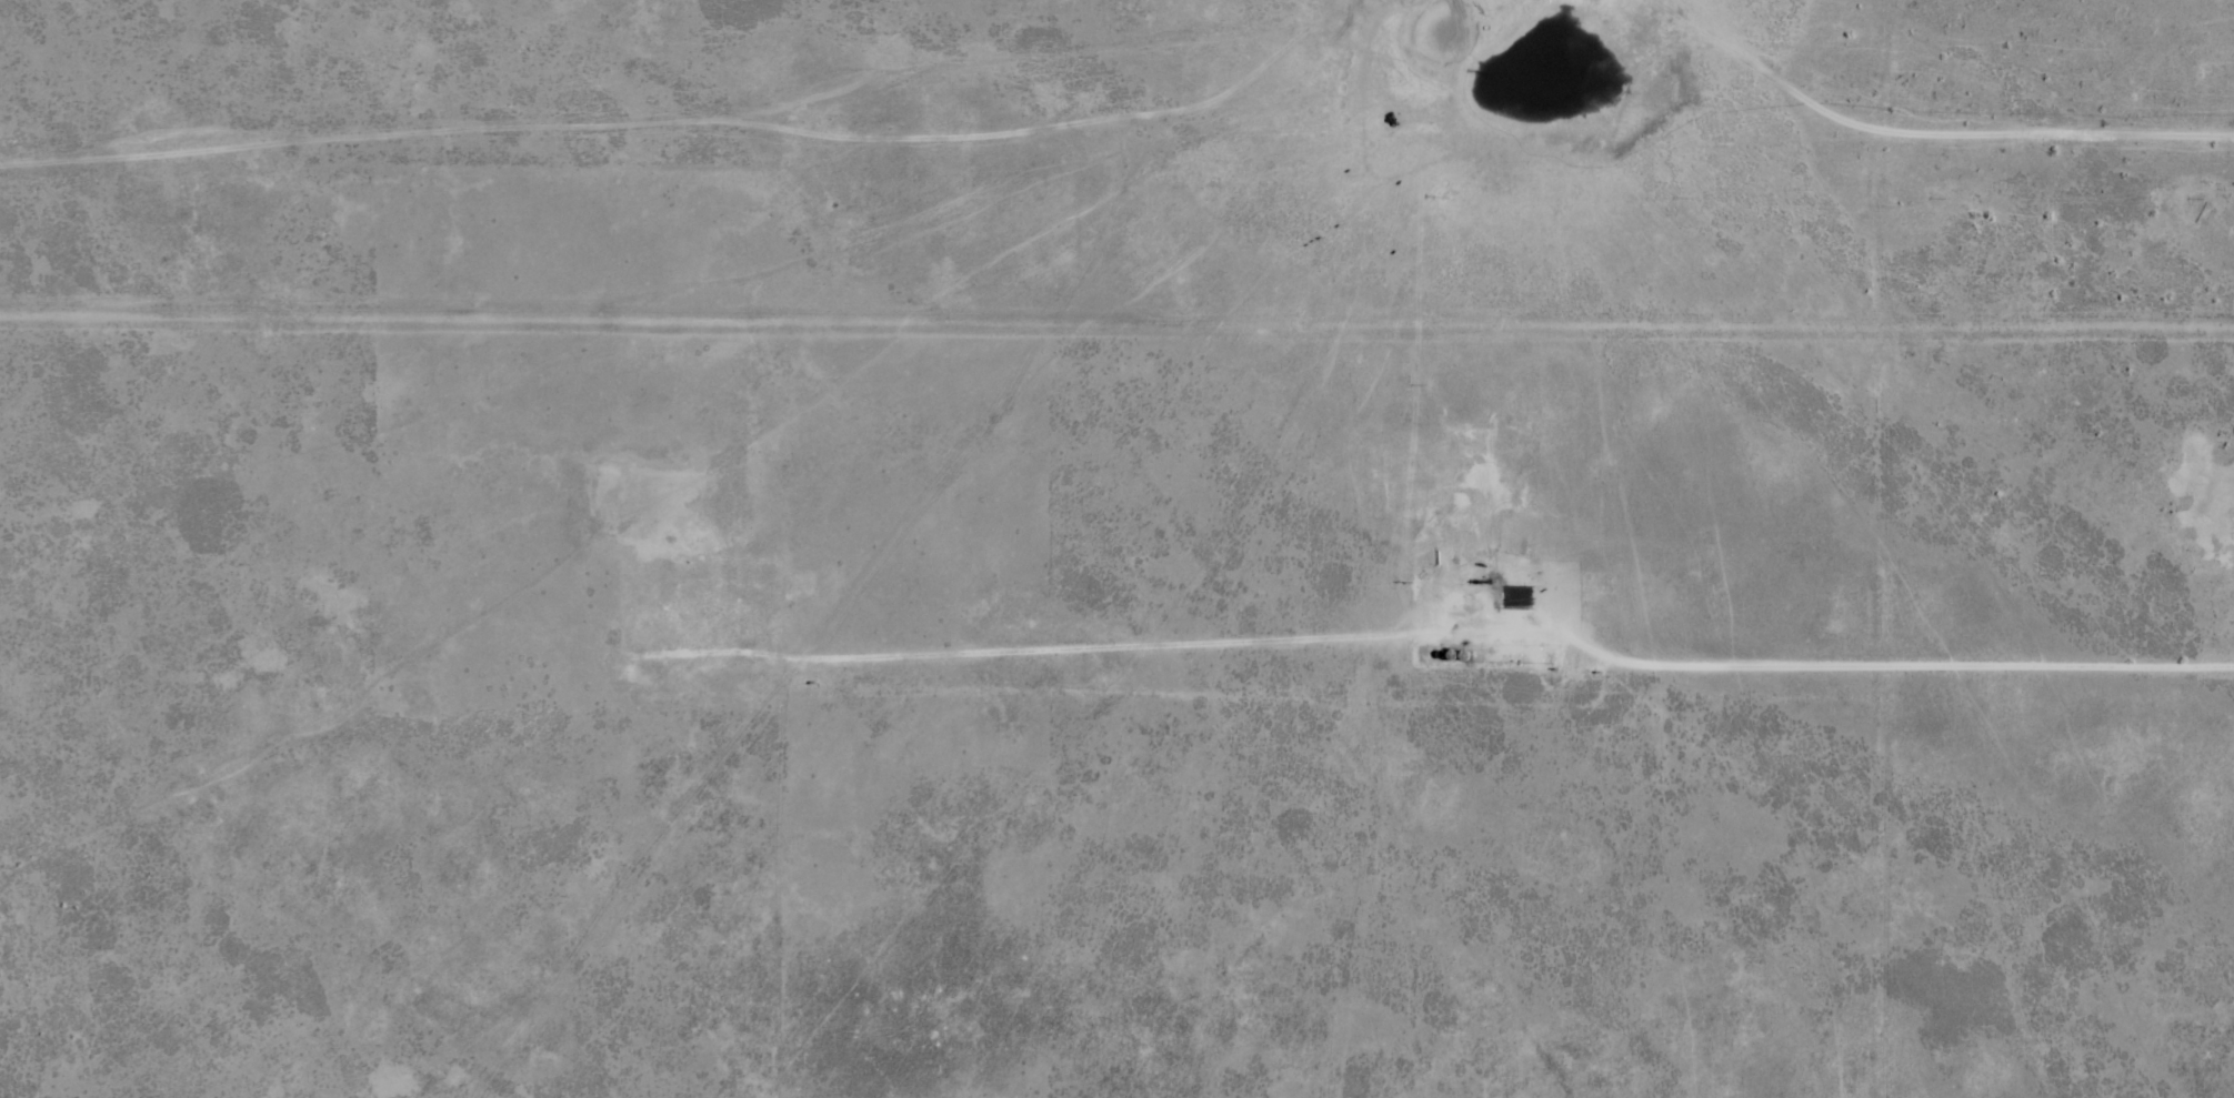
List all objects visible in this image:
road: (845, 517)

